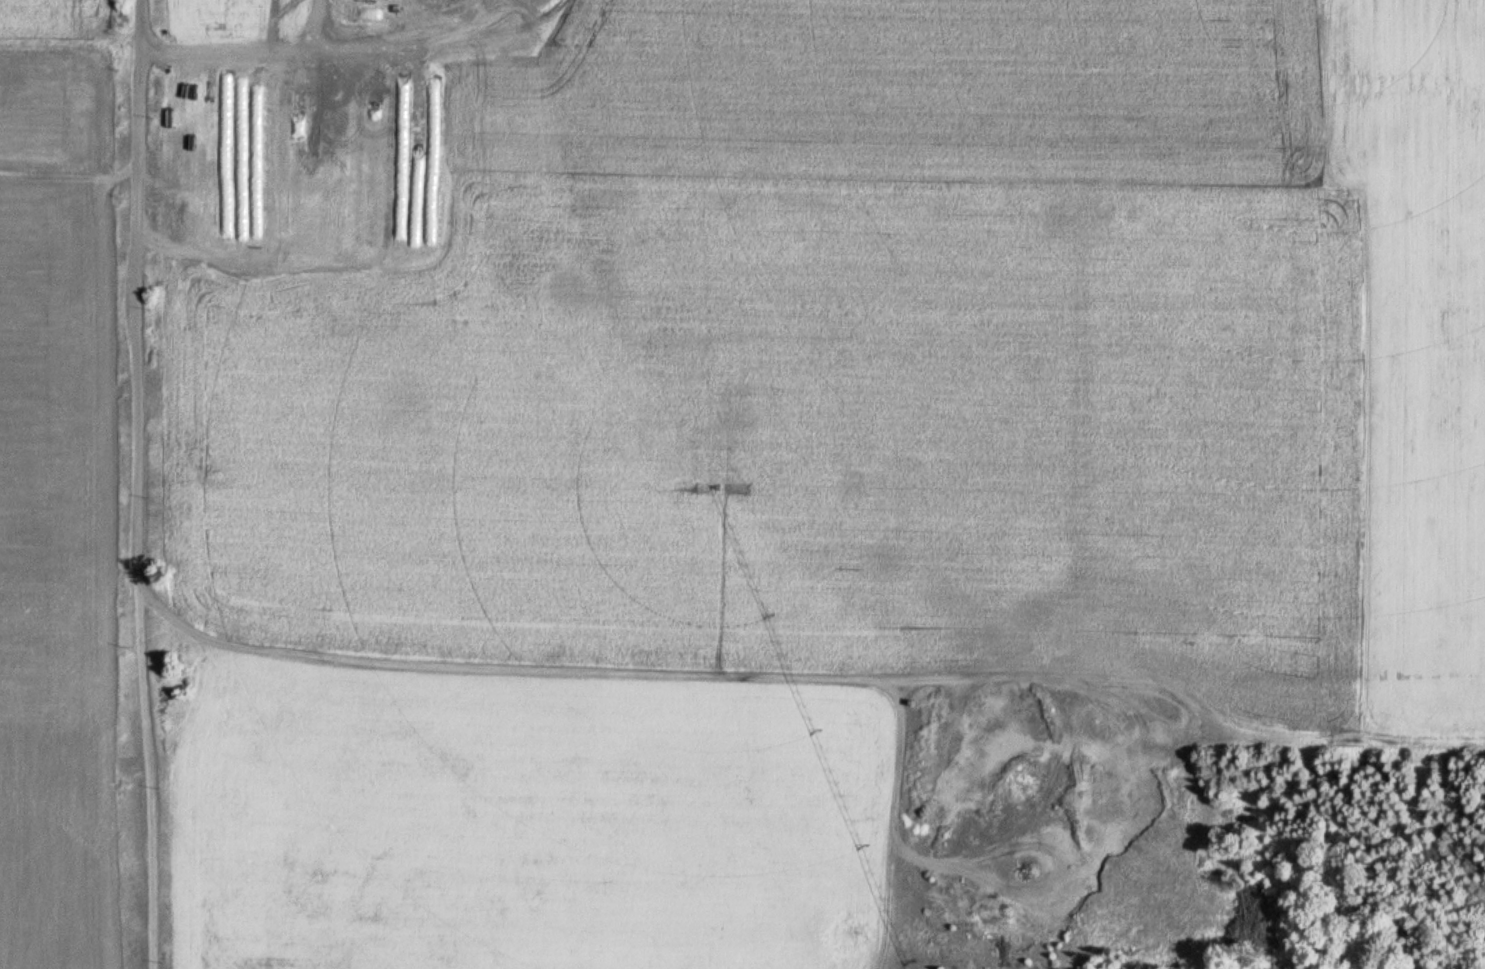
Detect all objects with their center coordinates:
building: (177, 14)
road: (139, 85)
road: (139, 570)

